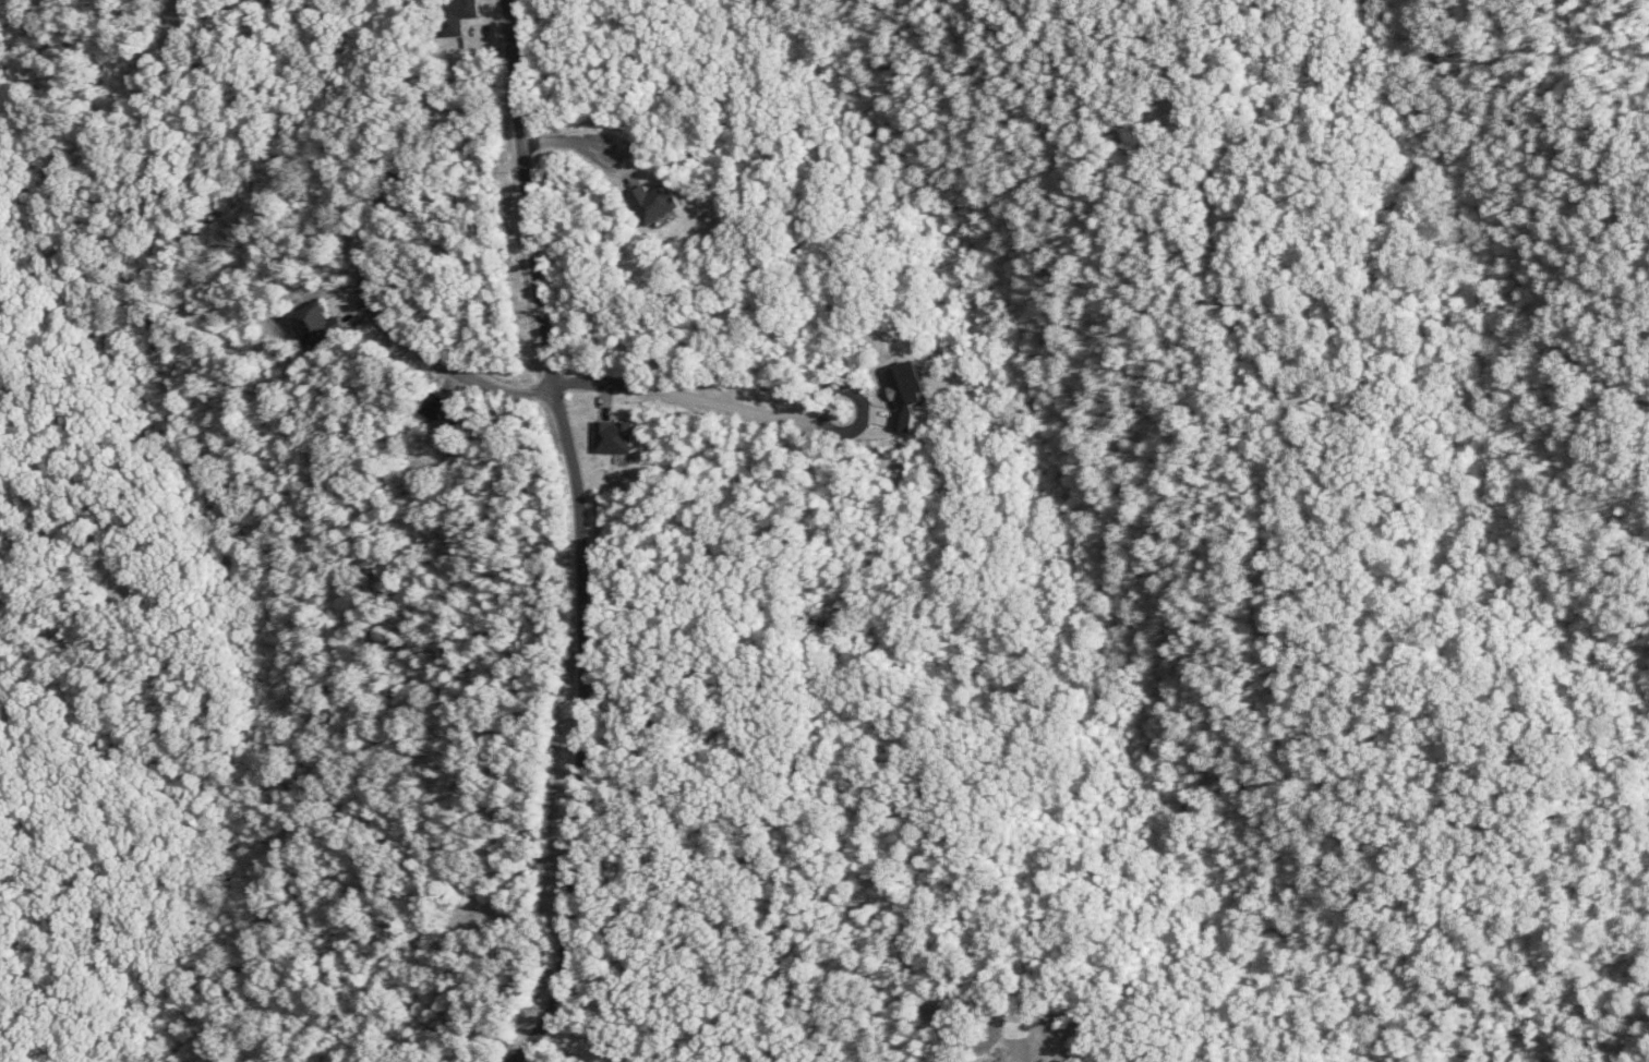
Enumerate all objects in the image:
road: (180, 10)
building: (455, 15)
road: (576, 144)
building: (654, 204)
road: (366, 253)
road: (1216, 301)
building: (318, 325)
road: (686, 391)
building: (906, 395)
building: (446, 412)
road: (1287, 431)
building: (615, 439)
road: (1030, 462)
road: (265, 522)
road: (69, 524)
road: (588, 534)
road: (773, 862)
road: (895, 889)
road: (515, 917)
road: (1628, 1036)
road: (581, 1045)

